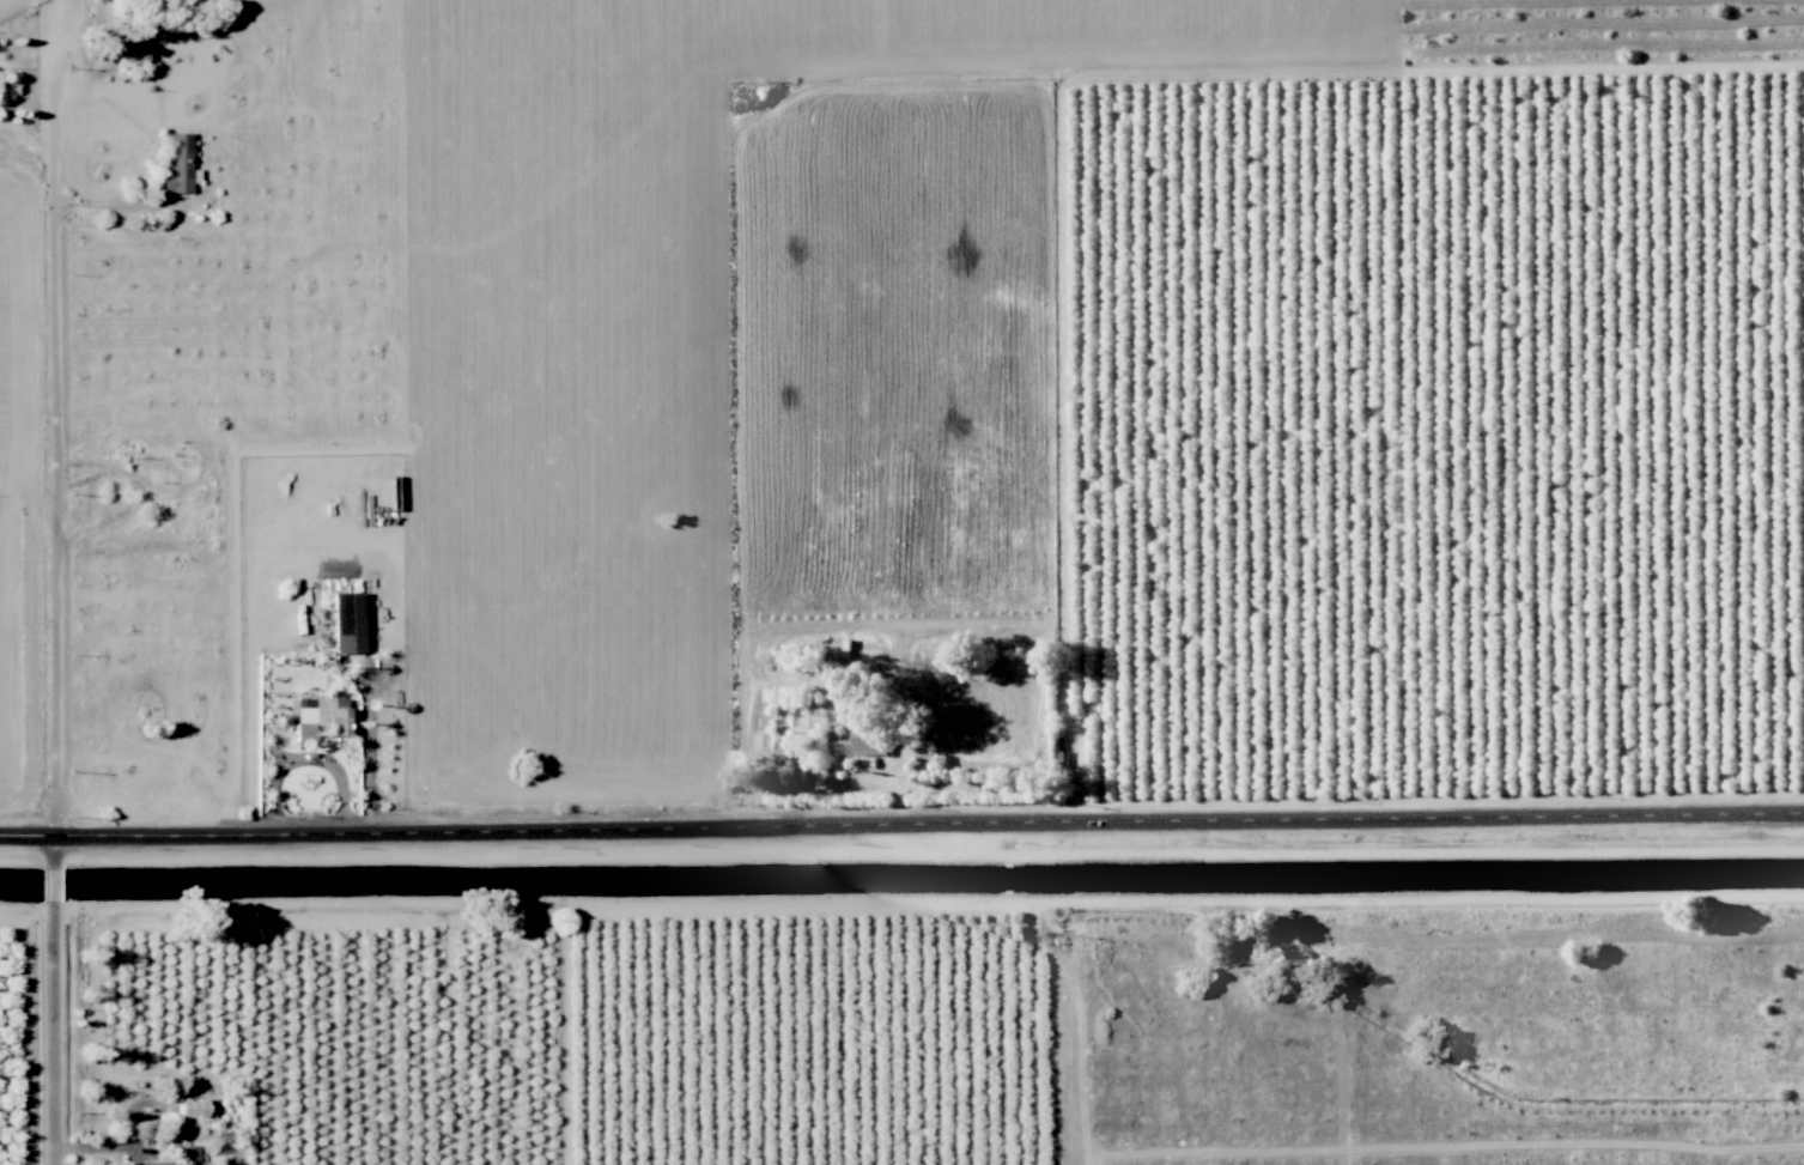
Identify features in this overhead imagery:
road: (84, 60)
building: (177, 164)
road: (102, 219)
road: (45, 418)
building: (346, 623)
building: (318, 717)
building: (871, 741)
road: (901, 826)
road: (51, 1001)
building: (188, 1108)
building: (180, 1158)

